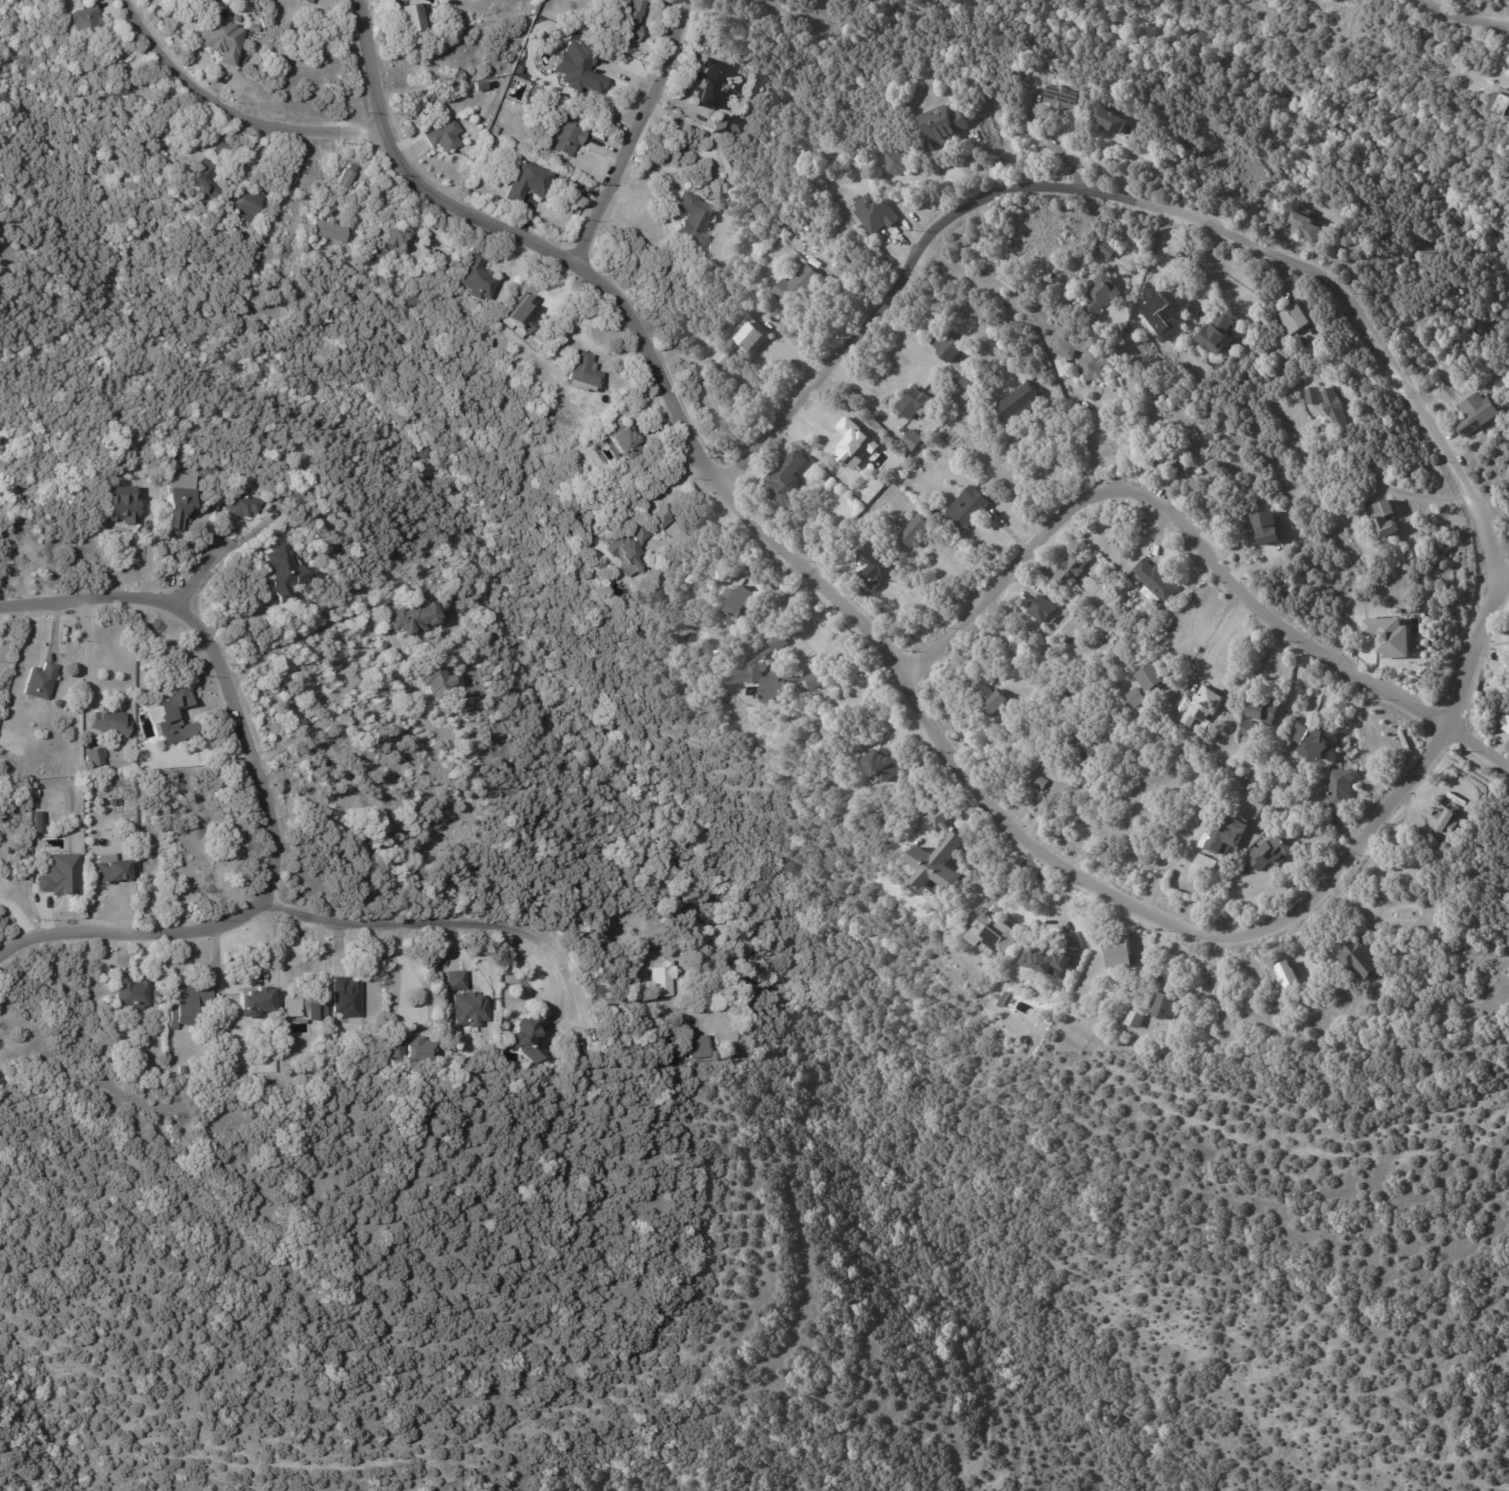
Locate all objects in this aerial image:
building: (305, 1)
building: (1304, 1)
road: (1460, 9)
building: (406, 18)
building: (630, 20)
building: (81, 22)
building: (253, 27)
building: (221, 41)
building: (293, 68)
building: (707, 86)
building: (1060, 98)
road: (233, 108)
building: (1502, 109)
building: (1108, 121)
building: (942, 124)
building: (726, 125)
road: (636, 127)
building: (495, 131)
building: (443, 136)
building: (562, 138)
building: (214, 151)
building: (176, 155)
building: (899, 162)
building: (345, 178)
building: (527, 182)
building: (196, 185)
building: (714, 189)
road: (1135, 201)
building: (246, 205)
building: (875, 213)
building: (692, 220)
building: (1304, 227)
building: (323, 231)
building: (390, 240)
building: (1105, 248)
road: (1138, 259)
building: (473, 279)
building: (795, 287)
building: (1100, 294)
building: (518, 316)
building: (1294, 318)
building: (1216, 335)
building: (751, 338)
building: (947, 349)
building: (722, 360)
building: (1080, 360)
building: (985, 368)
building: (579, 374)
building: (751, 380)
building: (970, 382)
building: (1312, 396)
building: (951, 401)
building: (1018, 402)
building: (914, 403)
building: (1334, 407)
building: (1477, 413)
road: (1065, 439)
building: (913, 440)
building: (854, 442)
building: (619, 446)
building: (1168, 454)
building: (786, 482)
road: (1427, 497)
building: (119, 503)
building: (172, 504)
building: (240, 504)
building: (968, 509)
building: (661, 518)
building: (1384, 521)
road: (696, 526)
building: (1267, 529)
building: (914, 533)
road: (1199, 544)
building: (629, 550)
road: (220, 555)
road: (1505, 567)
building: (281, 570)
building: (1069, 572)
building: (1155, 581)
building: (735, 600)
building: (1041, 610)
building: (409, 618)
road: (301, 633)
road: (1208, 635)
building: (1388, 636)
road: (1219, 641)
road: (85, 652)
road: (911, 672)
building: (777, 675)
building: (431, 677)
building: (41, 681)
building: (1147, 685)
building: (987, 694)
building: (58, 704)
building: (1202, 705)
building: (1262, 710)
building: (171, 717)
building: (114, 723)
building: (1505, 724)
road: (338, 725)
building: (1249, 732)
building: (1310, 742)
building: (87, 747)
building: (1081, 748)
building: (97, 757)
building: (878, 766)
building: (908, 772)
building: (281, 775)
building: (459, 775)
building: (1040, 783)
building: (1340, 792)
building: (37, 794)
road: (268, 795)
road: (1045, 797)
building: (938, 816)
building: (1446, 825)
building: (1223, 837)
building: (1270, 855)
building: (937, 862)
building: (1206, 866)
building: (117, 872)
building: (65, 875)
road: (467, 927)
building: (991, 938)
road: (318, 949)
building: (1117, 954)
building: (1036, 957)
building: (1360, 958)
building: (1286, 973)
building: (455, 980)
building: (662, 981)
building: (136, 994)
building: (160, 998)
building: (344, 998)
building: (253, 1000)
road: (638, 1003)
building: (189, 1005)
building: (1164, 1007)
building: (302, 1008)
building: (467, 1008)
building: (1134, 1022)
building: (523, 1041)
road: (36, 1046)
building: (392, 1047)
building: (698, 1047)
building: (416, 1049)
building: (183, 1070)

